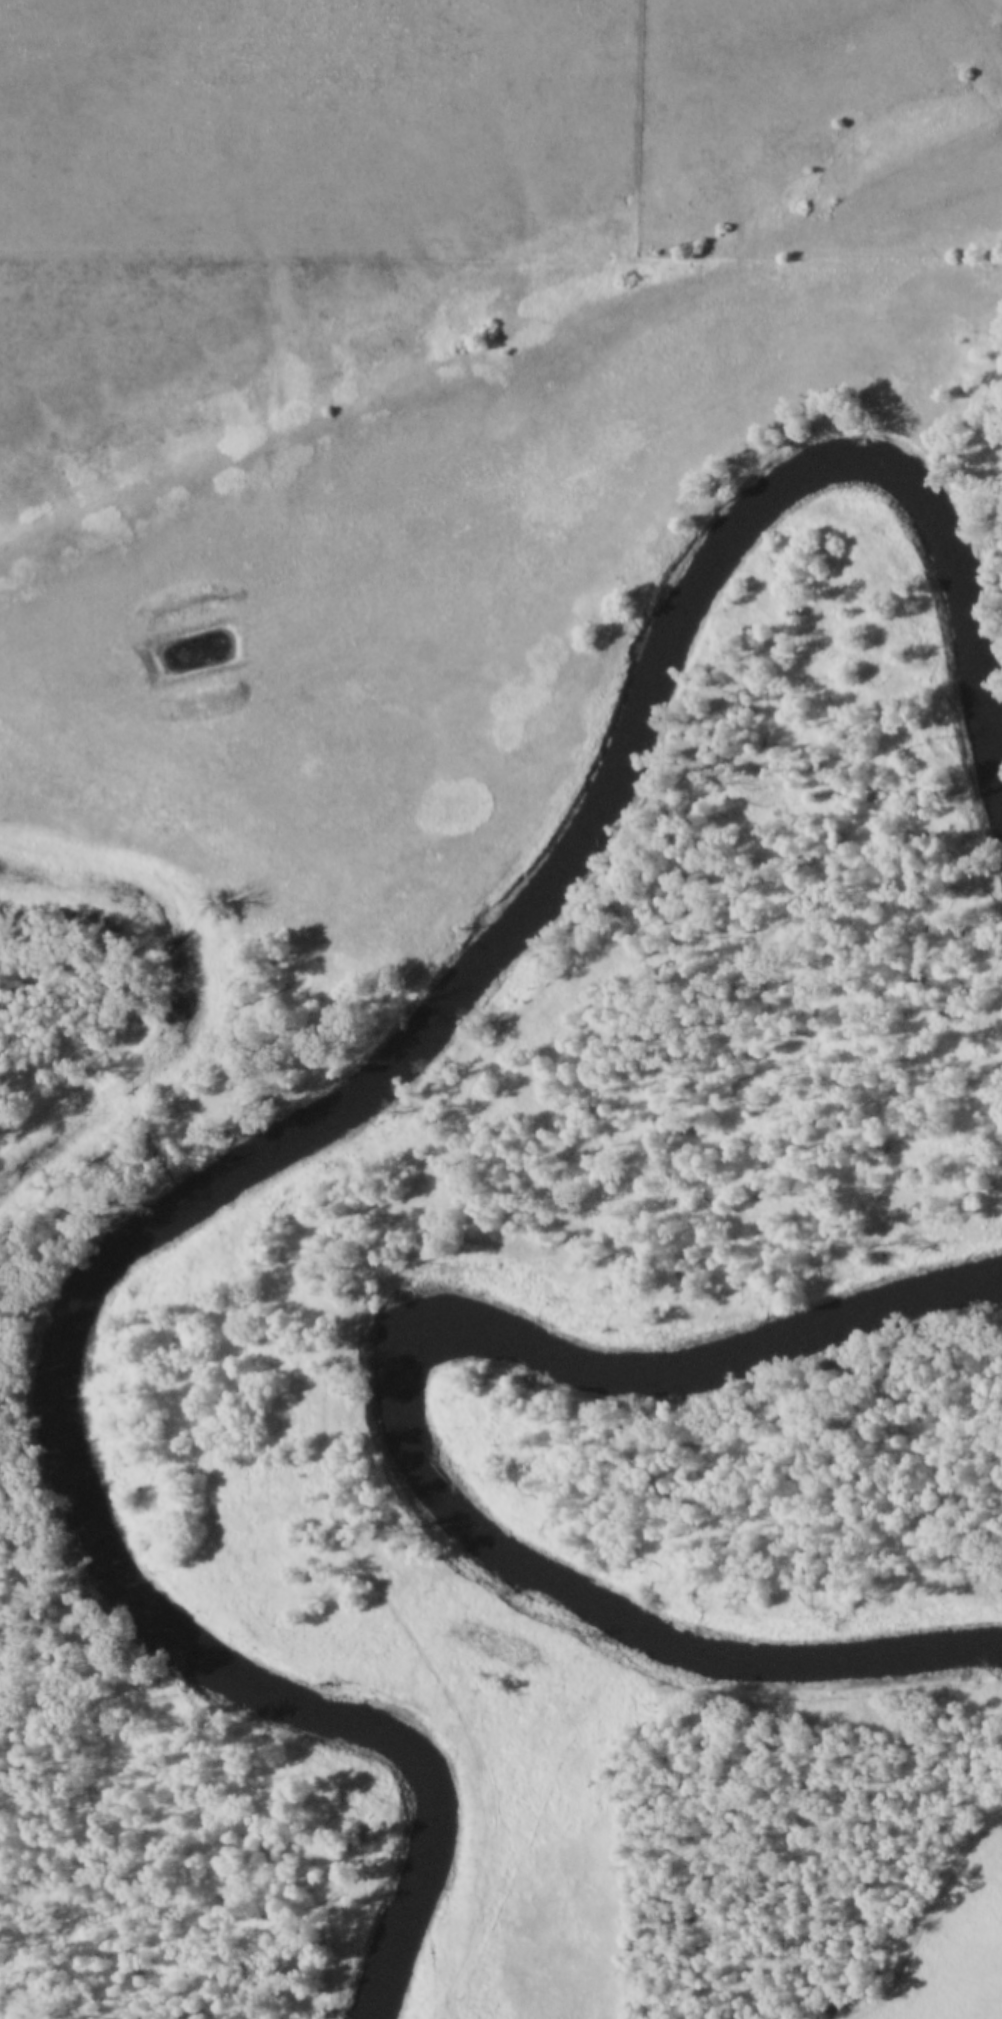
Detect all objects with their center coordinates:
river: (350, 1094)
river: (404, 1414)

